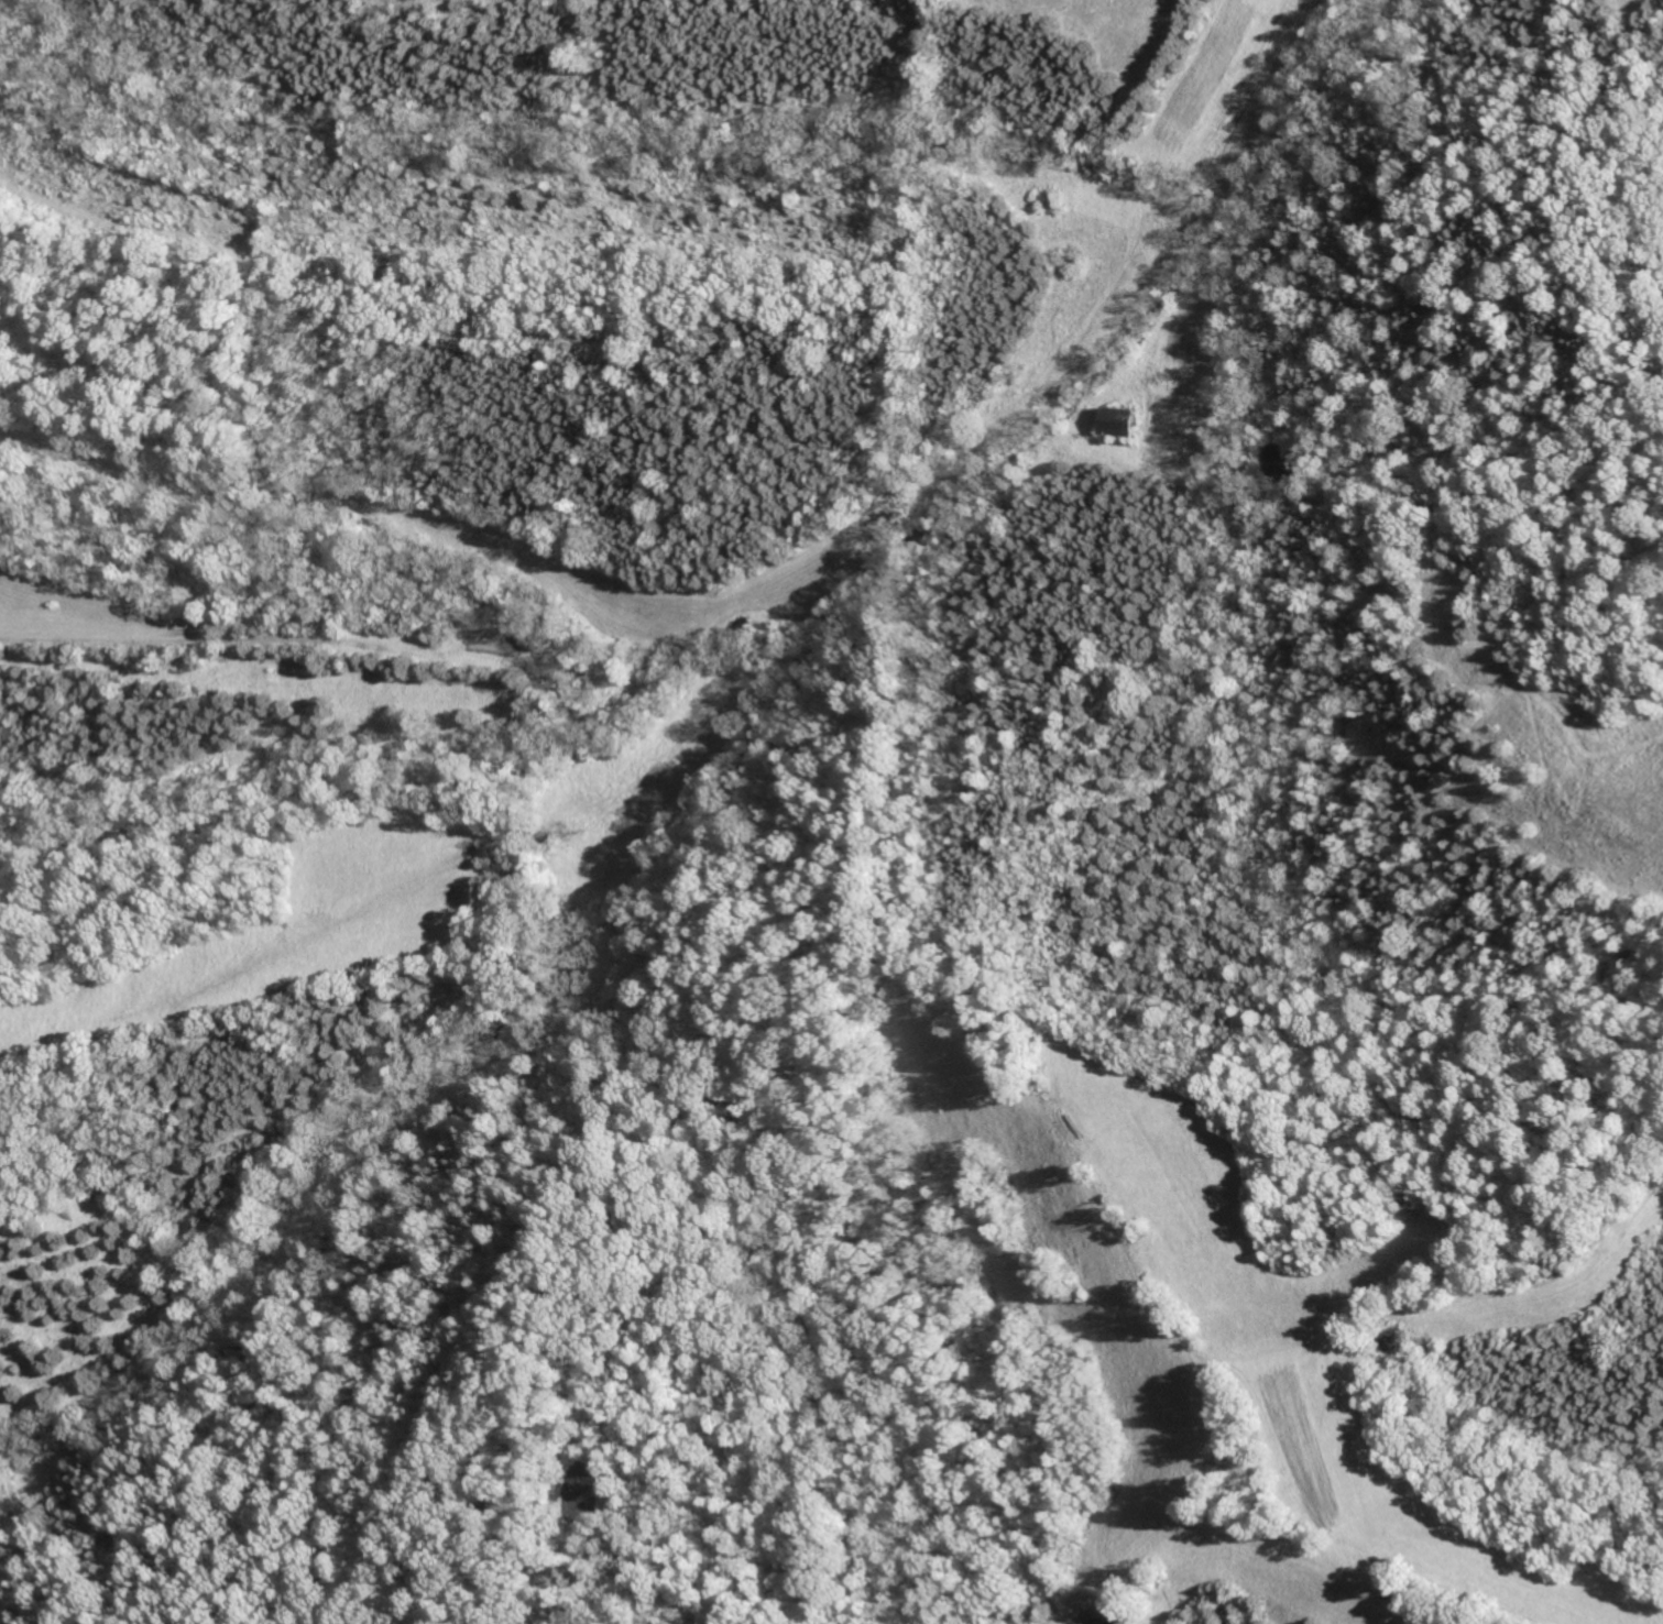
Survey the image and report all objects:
building: (1116, 423)

